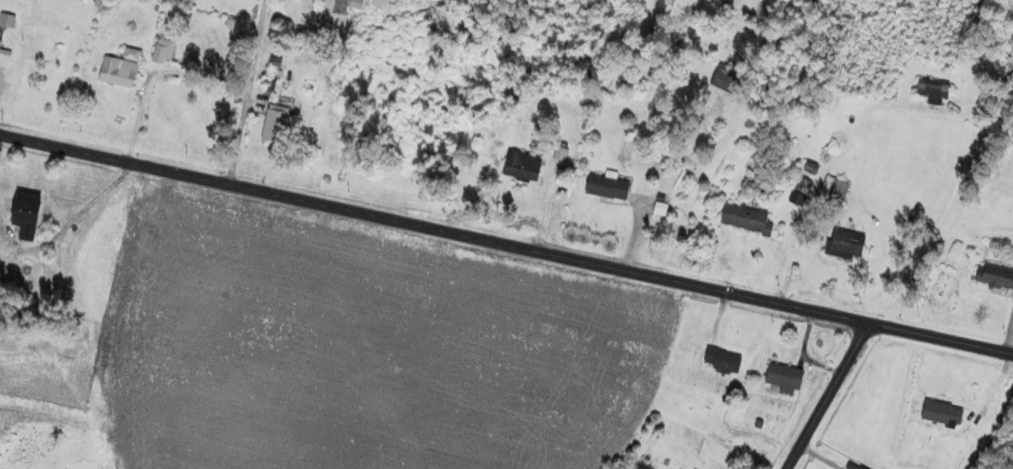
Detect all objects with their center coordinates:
building: (6, 20)
building: (164, 51)
building: (5, 57)
building: (120, 69)
building: (726, 78)
building: (934, 89)
road: (238, 98)
building: (275, 125)
building: (523, 166)
building: (608, 187)
building: (833, 193)
building: (27, 215)
building: (747, 219)
road: (506, 245)
building: (846, 245)
building: (995, 277)
building: (723, 360)
building: (785, 377)
road: (827, 396)
building: (943, 413)
building: (853, 466)

